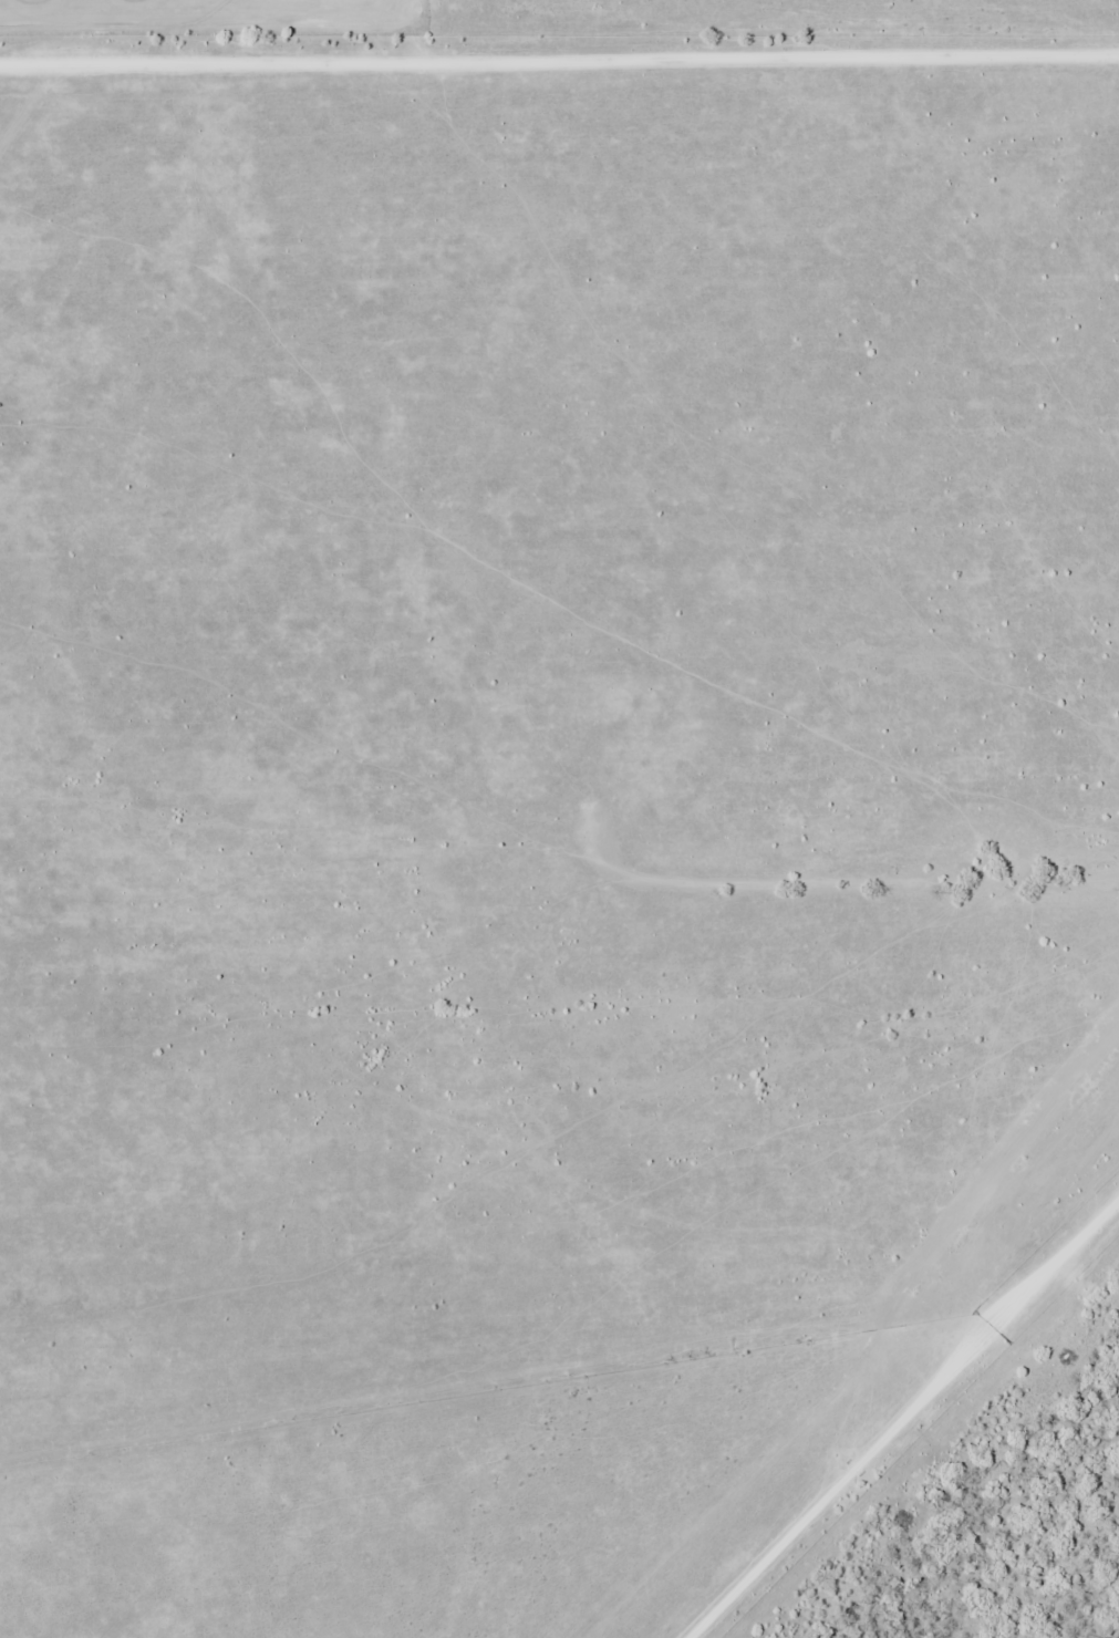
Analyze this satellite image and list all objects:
road: (559, 96)
road: (882, 881)
road: (912, 1427)

